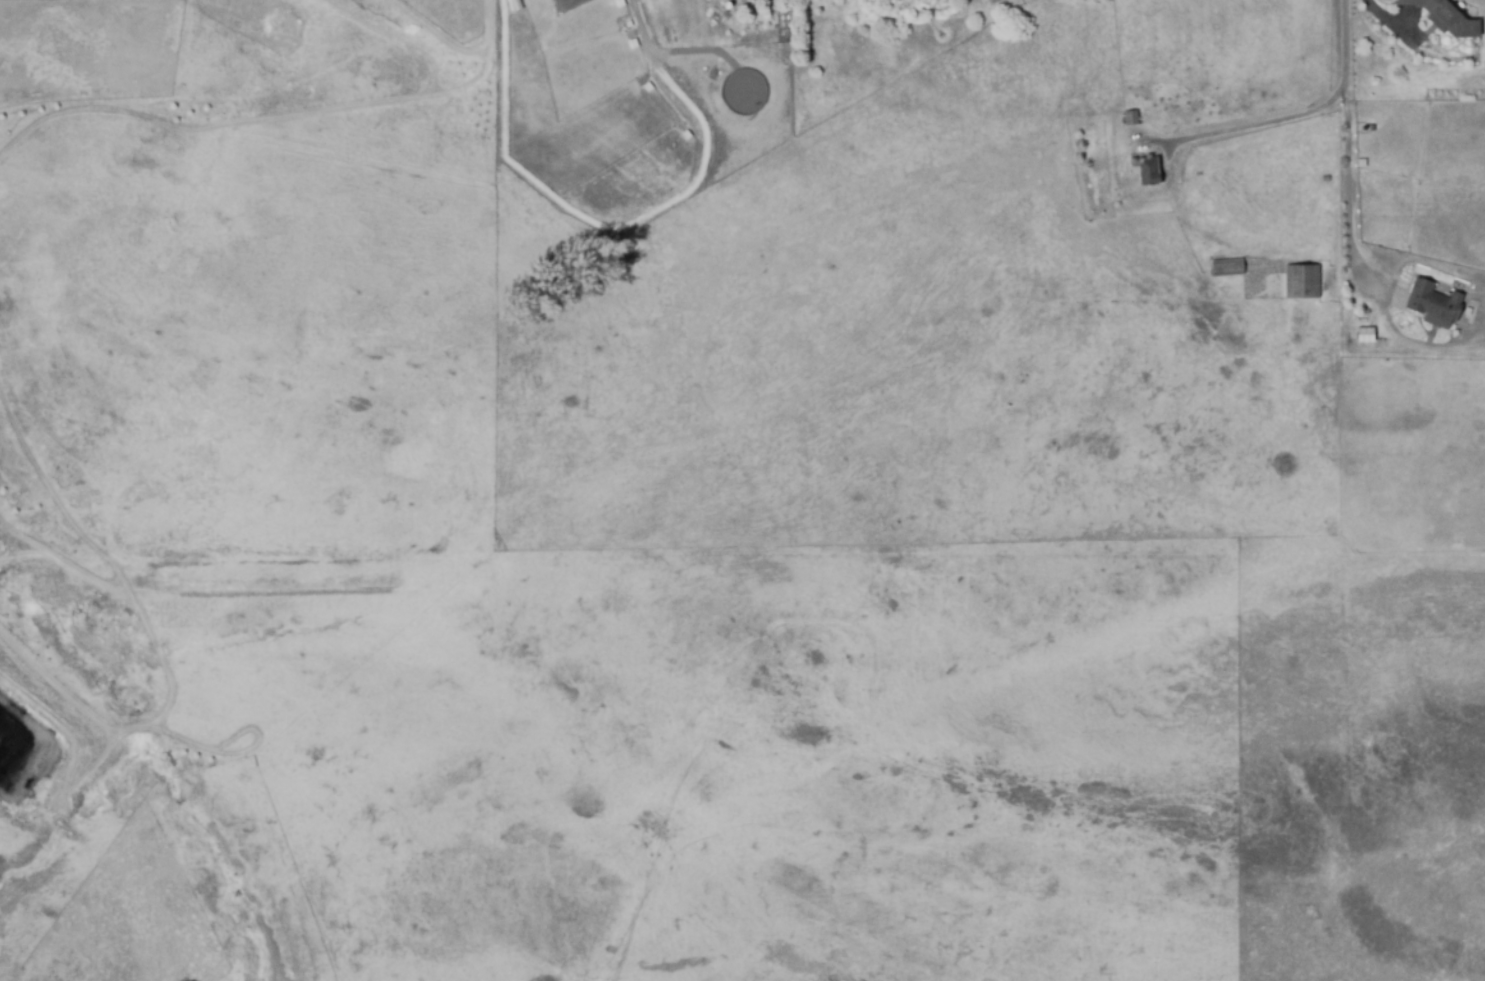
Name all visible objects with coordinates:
building: (751, 0)
building: (756, 0)
building: (1444, 19)
road: (1344, 46)
building: (1130, 118)
road: (1258, 125)
building: (1146, 170)
building: (1325, 179)
road: (1347, 201)
building: (1226, 268)
building: (1302, 281)
building: (1434, 303)
building: (1365, 334)

